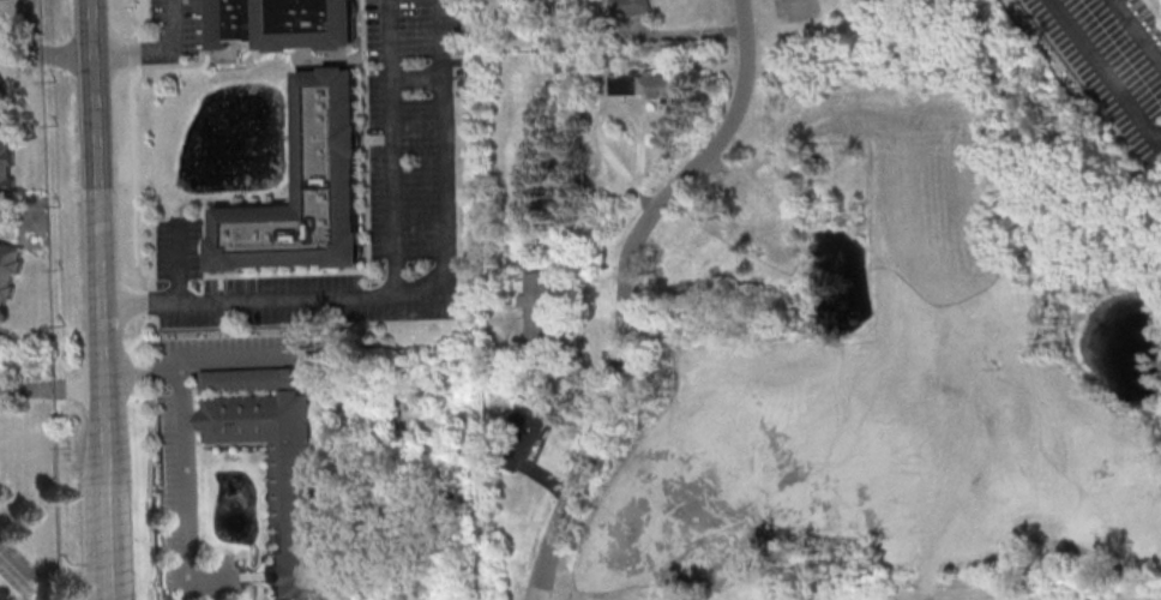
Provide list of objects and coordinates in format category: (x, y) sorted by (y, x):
building: (626, 7)
building: (278, 23)
road: (1135, 34)
road: (155, 48)
road: (41, 50)
building: (28, 65)
road: (1103, 74)
road: (419, 76)
building: (1, 80)
building: (622, 84)
building: (660, 85)
building: (1, 91)
road: (396, 146)
building: (5, 172)
building: (307, 187)
road: (133, 191)
road: (179, 258)
road: (97, 266)
building: (7, 268)
road: (620, 286)
road: (416, 292)
building: (536, 307)
road: (201, 366)
building: (248, 382)
road: (50, 386)
building: (525, 432)
building: (278, 476)
road: (149, 493)
road: (185, 496)
road: (110, 566)
road: (1112, 599)

